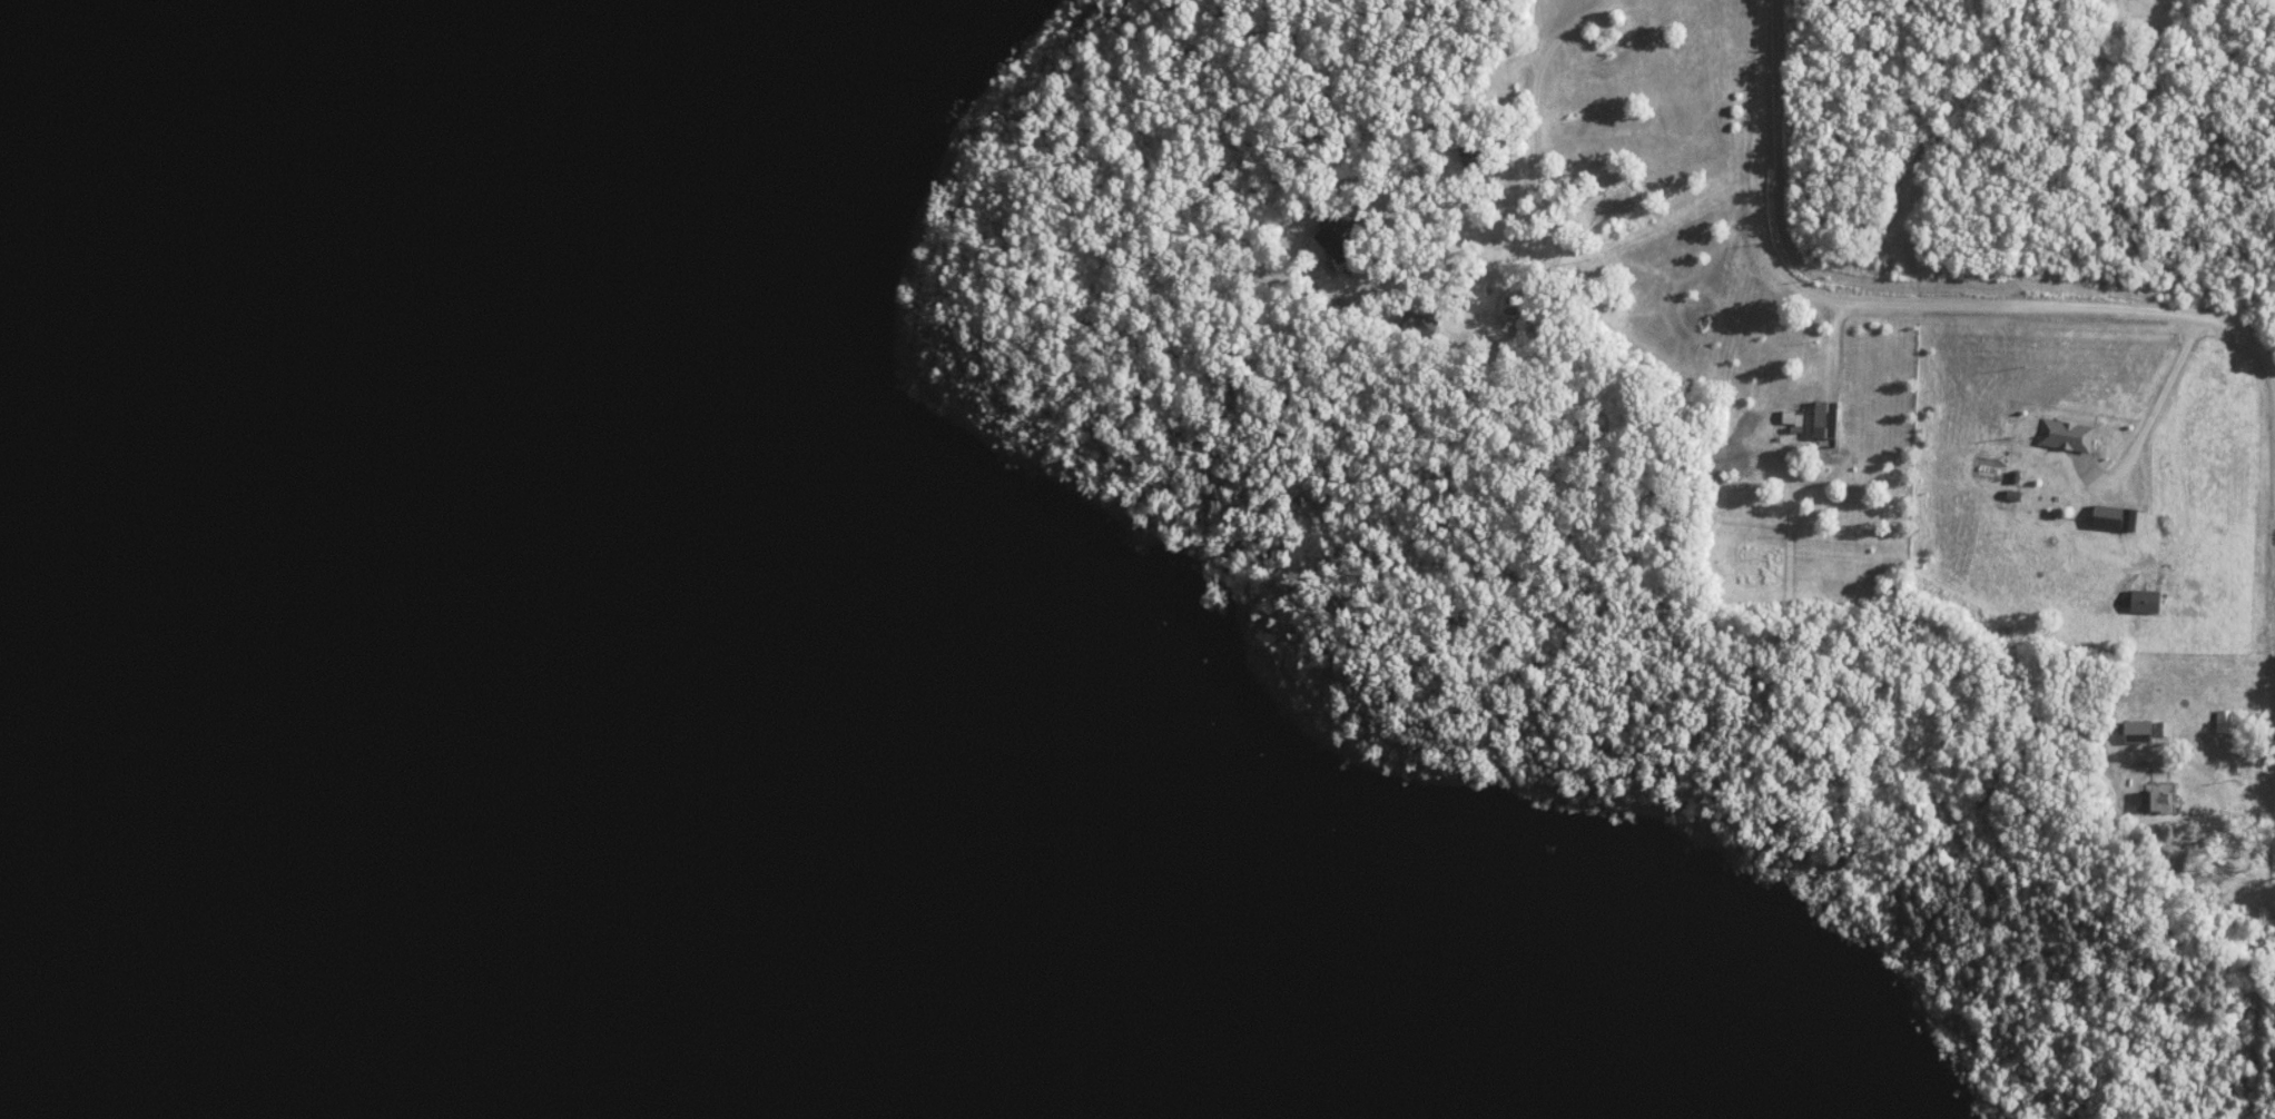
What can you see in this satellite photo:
building: (1475, 157)
road: (1550, 219)
building: (1342, 235)
road: (1895, 305)
building: (1420, 326)
road: (2161, 395)
building: (1826, 419)
building: (2195, 713)
building: (2226, 722)
building: (2159, 801)
road: (2274, 801)
road: (2273, 868)

